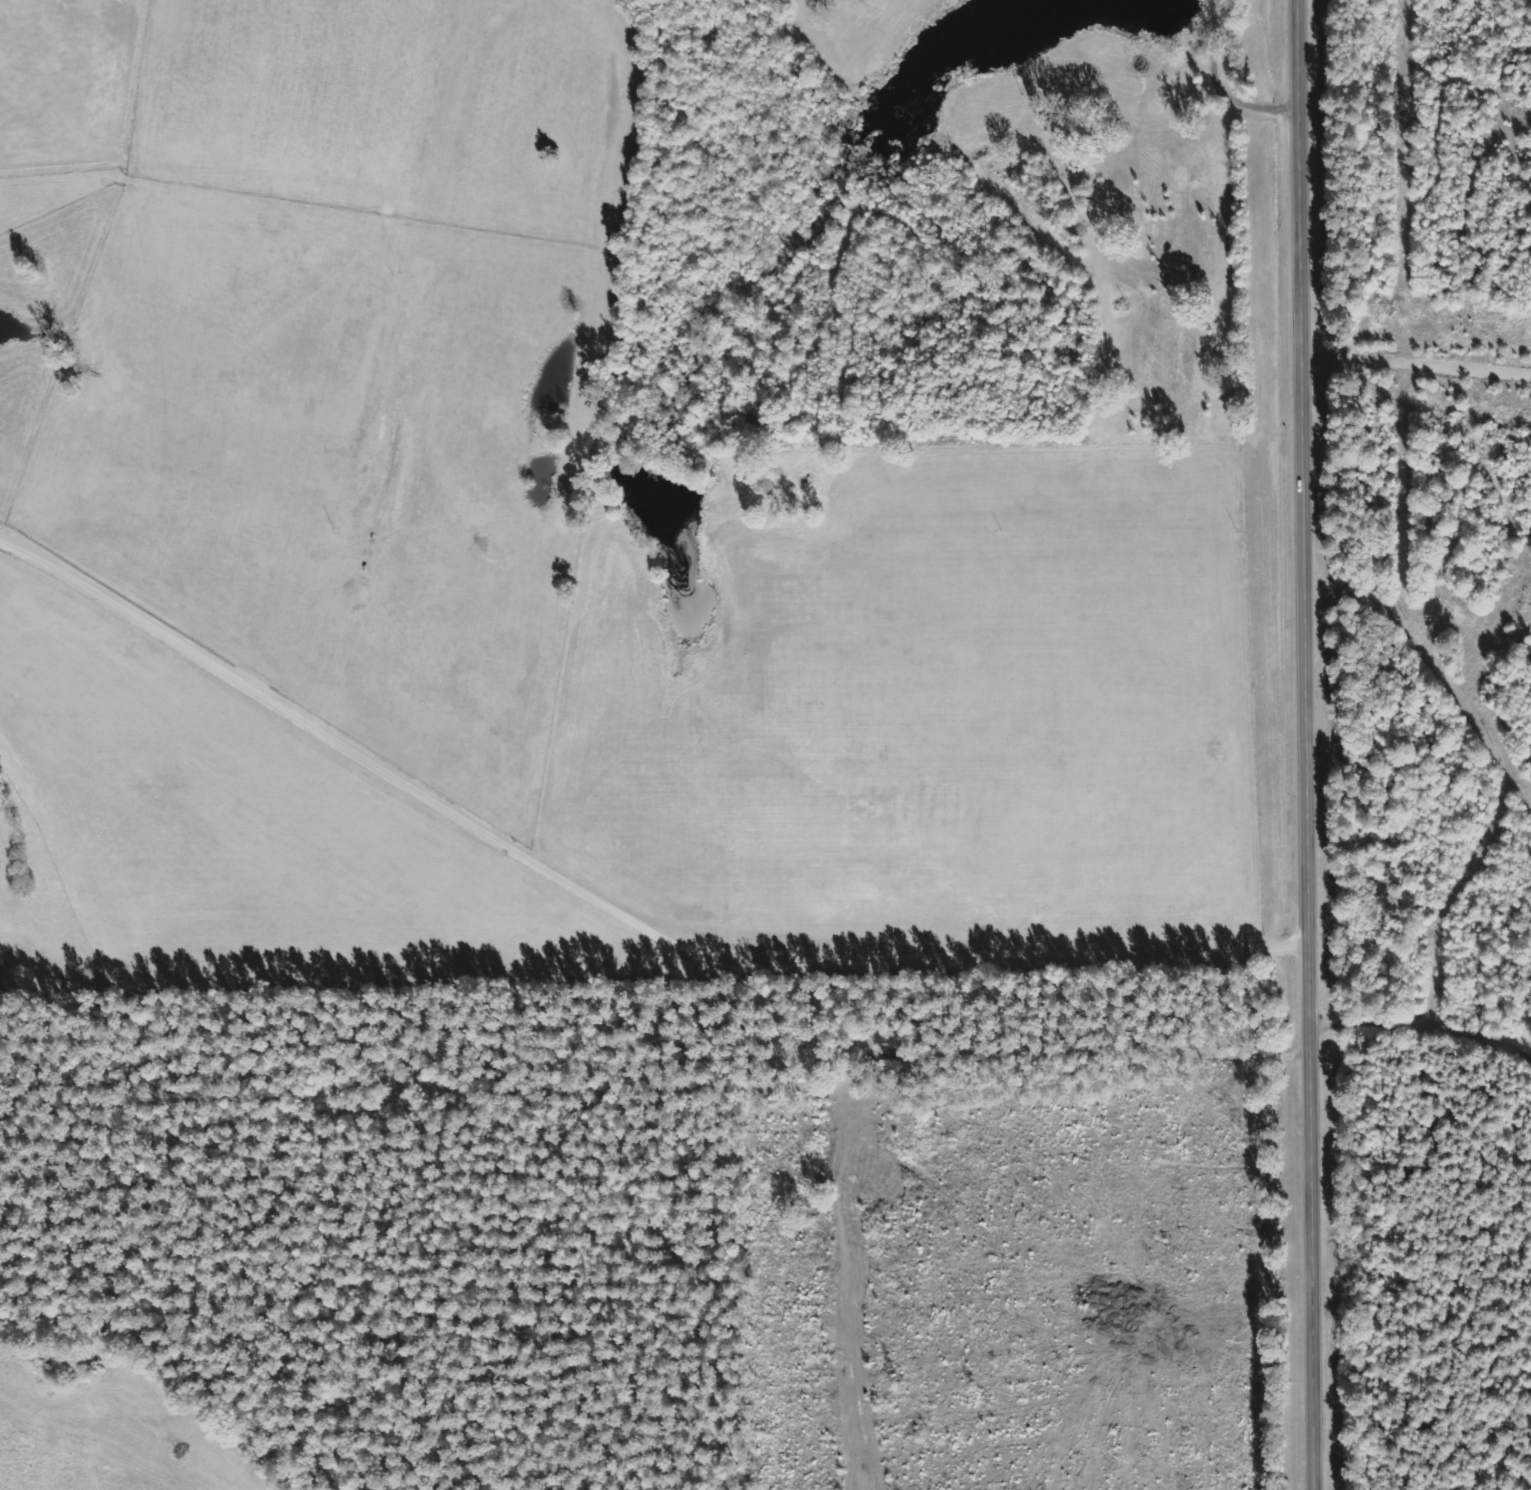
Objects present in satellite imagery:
road: (1219, 83)
road: (1303, 745)
road: (606, 899)
road: (1041, 1040)

